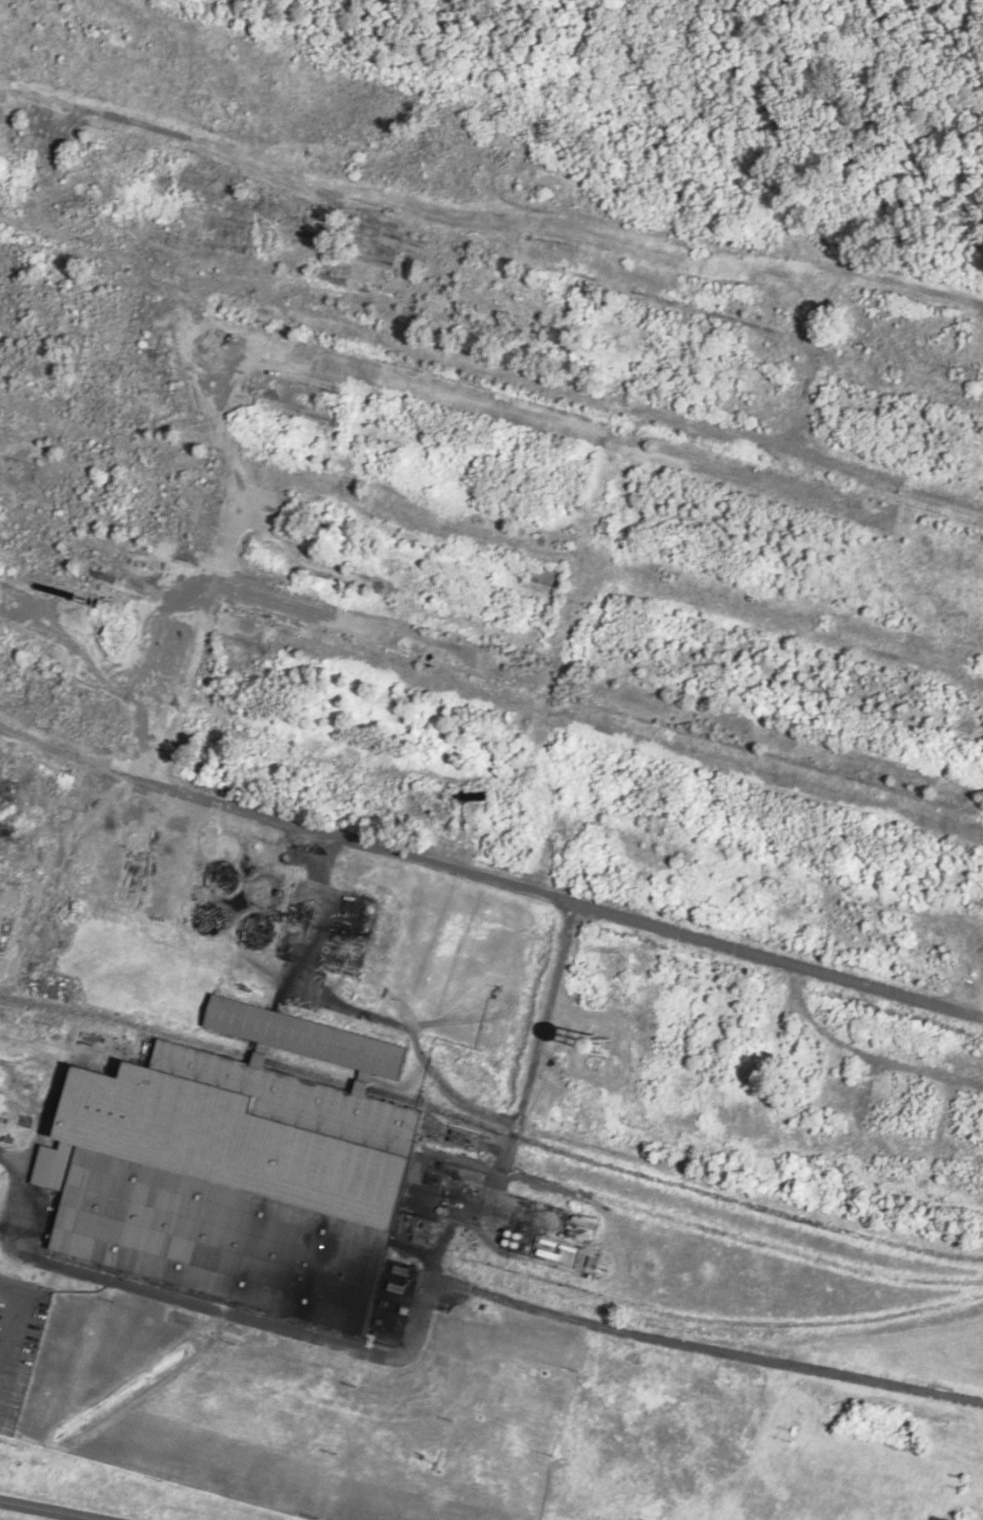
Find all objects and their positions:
building: (226, 232)
road: (78, 830)
road: (491, 879)
road: (981, 1012)
building: (305, 1037)
road: (539, 1063)
railway: (491, 1127)
building: (237, 1181)
building: (438, 1235)
building: (587, 1262)
road: (423, 1292)
road: (50, 1509)

